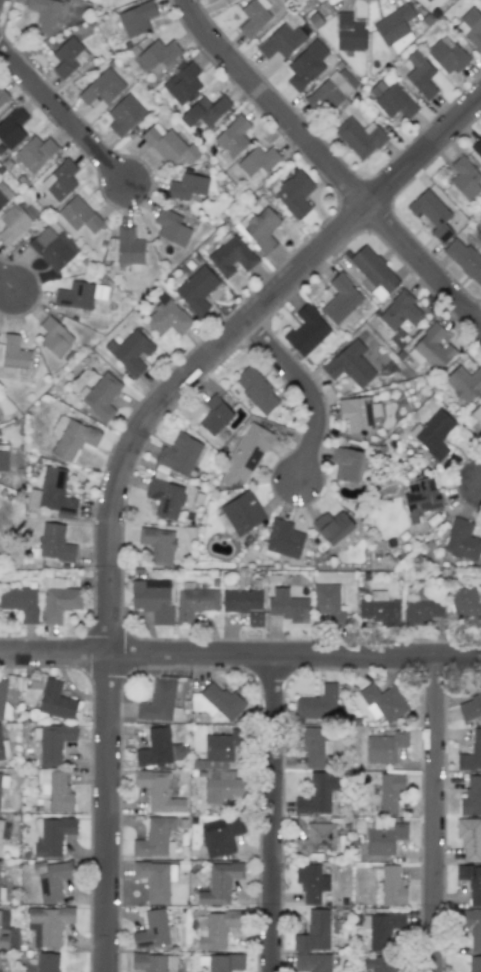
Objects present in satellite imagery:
building: (428, 0)
building: (480, 0)
building: (43, 14)
building: (254, 16)
building: (137, 18)
building: (394, 26)
building: (470, 27)
building: (281, 41)
building: (158, 53)
building: (447, 55)
building: (68, 57)
building: (306, 65)
building: (420, 74)
building: (182, 82)
building: (102, 88)
building: (329, 92)
building: (3, 96)
building: (391, 100)
building: (204, 111)
road: (66, 114)
building: (125, 114)
building: (12, 128)
building: (232, 136)
building: (360, 137)
building: (168, 145)
building: (476, 147)
building: (34, 153)
building: (257, 161)
road: (329, 165)
building: (465, 178)
building: (60, 180)
building: (187, 186)
building: (292, 193)
building: (4, 194)
building: (432, 214)
building: (77, 217)
building: (13, 224)
building: (171, 227)
building: (259, 229)
building: (53, 248)
building: (129, 249)
building: (231, 255)
building: (464, 259)
building: (374, 272)
road: (8, 282)
building: (197, 289)
building: (80, 295)
building: (340, 299)
building: (400, 311)
building: (167, 318)
building: (308, 331)
building: (54, 337)
road: (227, 341)
building: (431, 348)
building: (130, 352)
building: (13, 354)
building: (350, 364)
building: (464, 383)
building: (256, 390)
road: (309, 391)
building: (100, 396)
building: (358, 413)
building: (477, 413)
building: (215, 415)
building: (433, 434)
building: (72, 438)
building: (179, 454)
building: (245, 454)
building: (3, 457)
building: (346, 463)
building: (52, 494)
building: (165, 498)
building: (421, 499)
building: (242, 513)
building: (332, 526)
building: (284, 539)
building: (462, 540)
building: (54, 543)
building: (159, 544)
building: (152, 599)
building: (59, 600)
building: (20, 603)
building: (195, 603)
building: (244, 604)
building: (328, 604)
building: (466, 604)
building: (286, 605)
building: (379, 609)
road: (56, 652)
road: (296, 654)
building: (2, 697)
building: (56, 701)
building: (218, 702)
building: (383, 702)
building: (159, 703)
building: (318, 704)
building: (471, 707)
building: (54, 742)
building: (385, 746)
building: (313, 747)
building: (221, 748)
building: (3, 749)
building: (159, 749)
building: (471, 754)
building: (3, 779)
building: (56, 790)
building: (158, 792)
building: (390, 792)
building: (318, 793)
building: (471, 797)
road: (111, 812)
road: (272, 813)
road: (434, 813)
building: (1, 827)
building: (221, 835)
building: (53, 836)
building: (155, 838)
building: (316, 838)
building: (470, 838)
building: (384, 839)
building: (54, 880)
building: (155, 880)
building: (471, 882)
building: (220, 883)
building: (311, 883)
building: (392, 887)
building: (0, 918)
building: (51, 924)
building: (471, 928)
building: (215, 929)
building: (381, 929)
building: (154, 931)
building: (314, 932)
building: (3, 941)
building: (47, 962)
building: (153, 962)
building: (225, 962)
building: (312, 963)
building: (387, 963)
building: (474, 964)
building: (0, 970)

